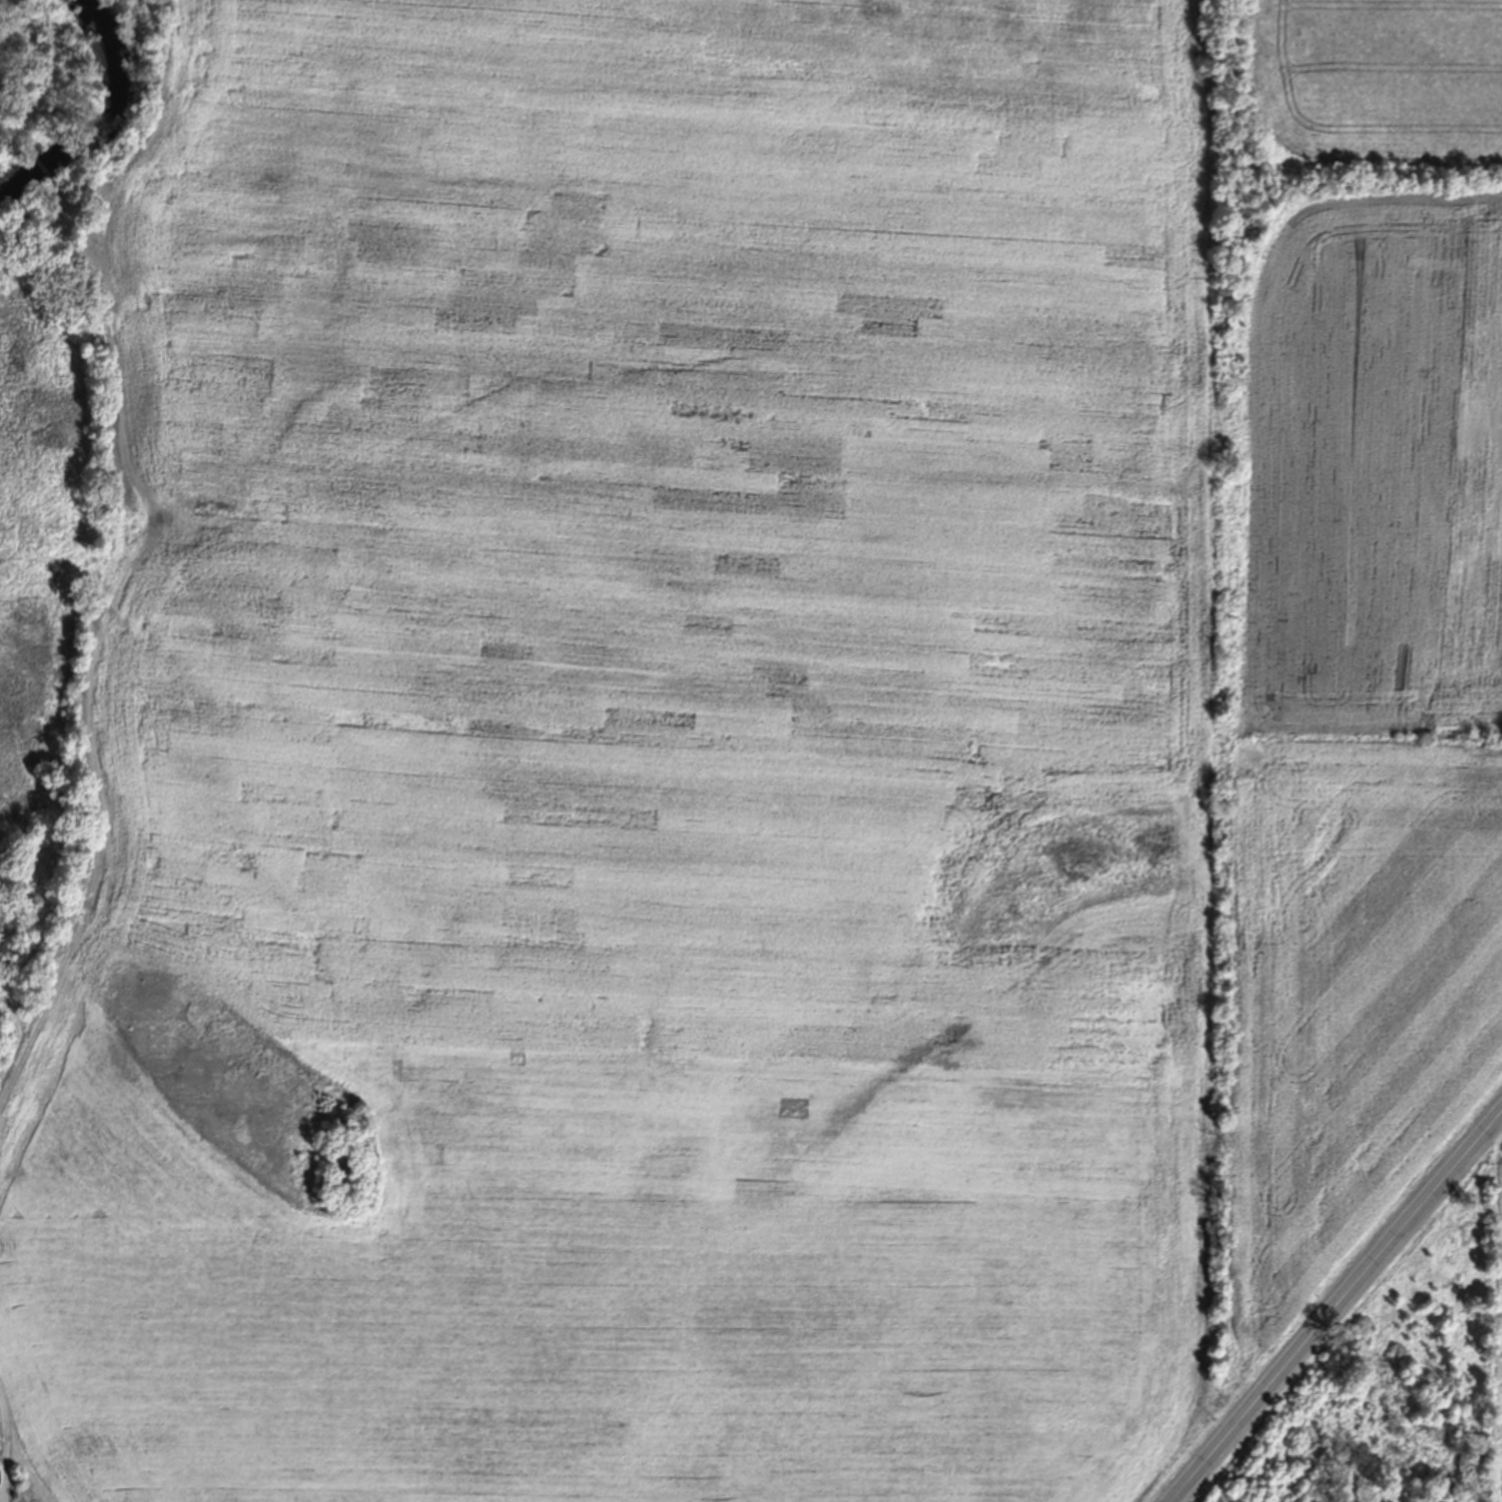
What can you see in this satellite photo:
river: (91, 111)
road: (1340, 1313)
road: (0, 1501)

